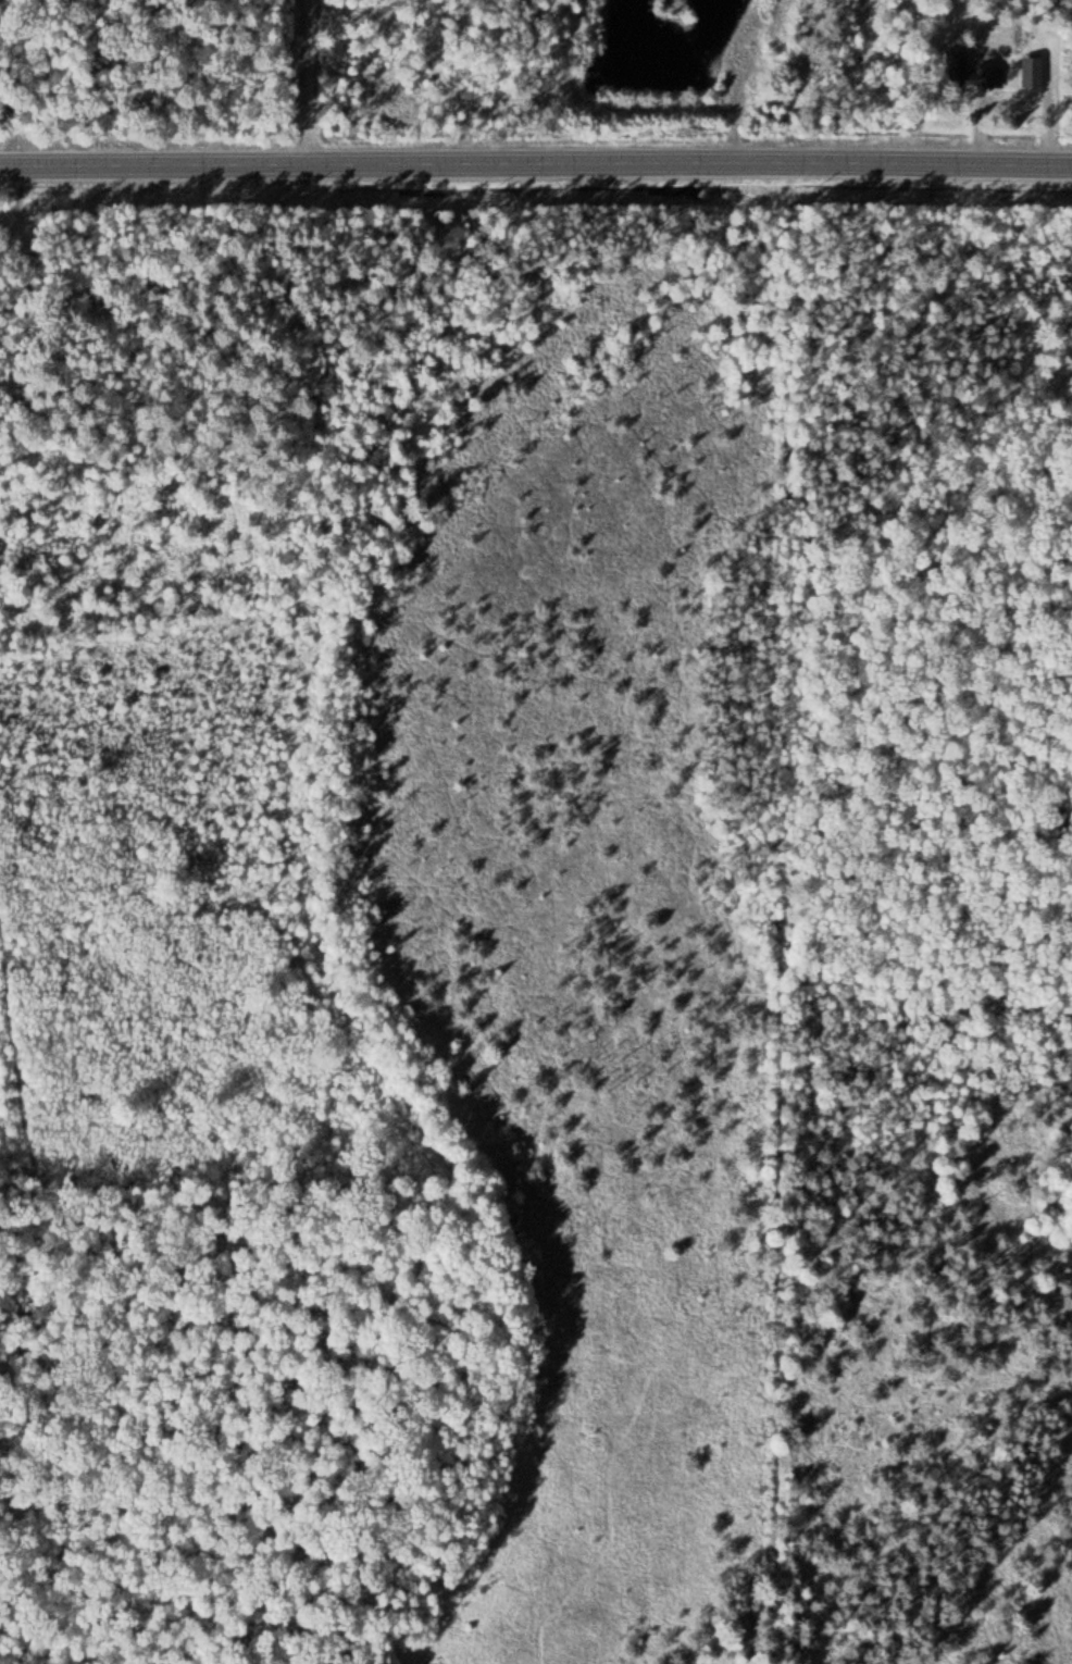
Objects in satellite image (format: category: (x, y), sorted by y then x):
building: (1037, 72)
building: (975, 73)
road: (314, 82)
road: (536, 163)

